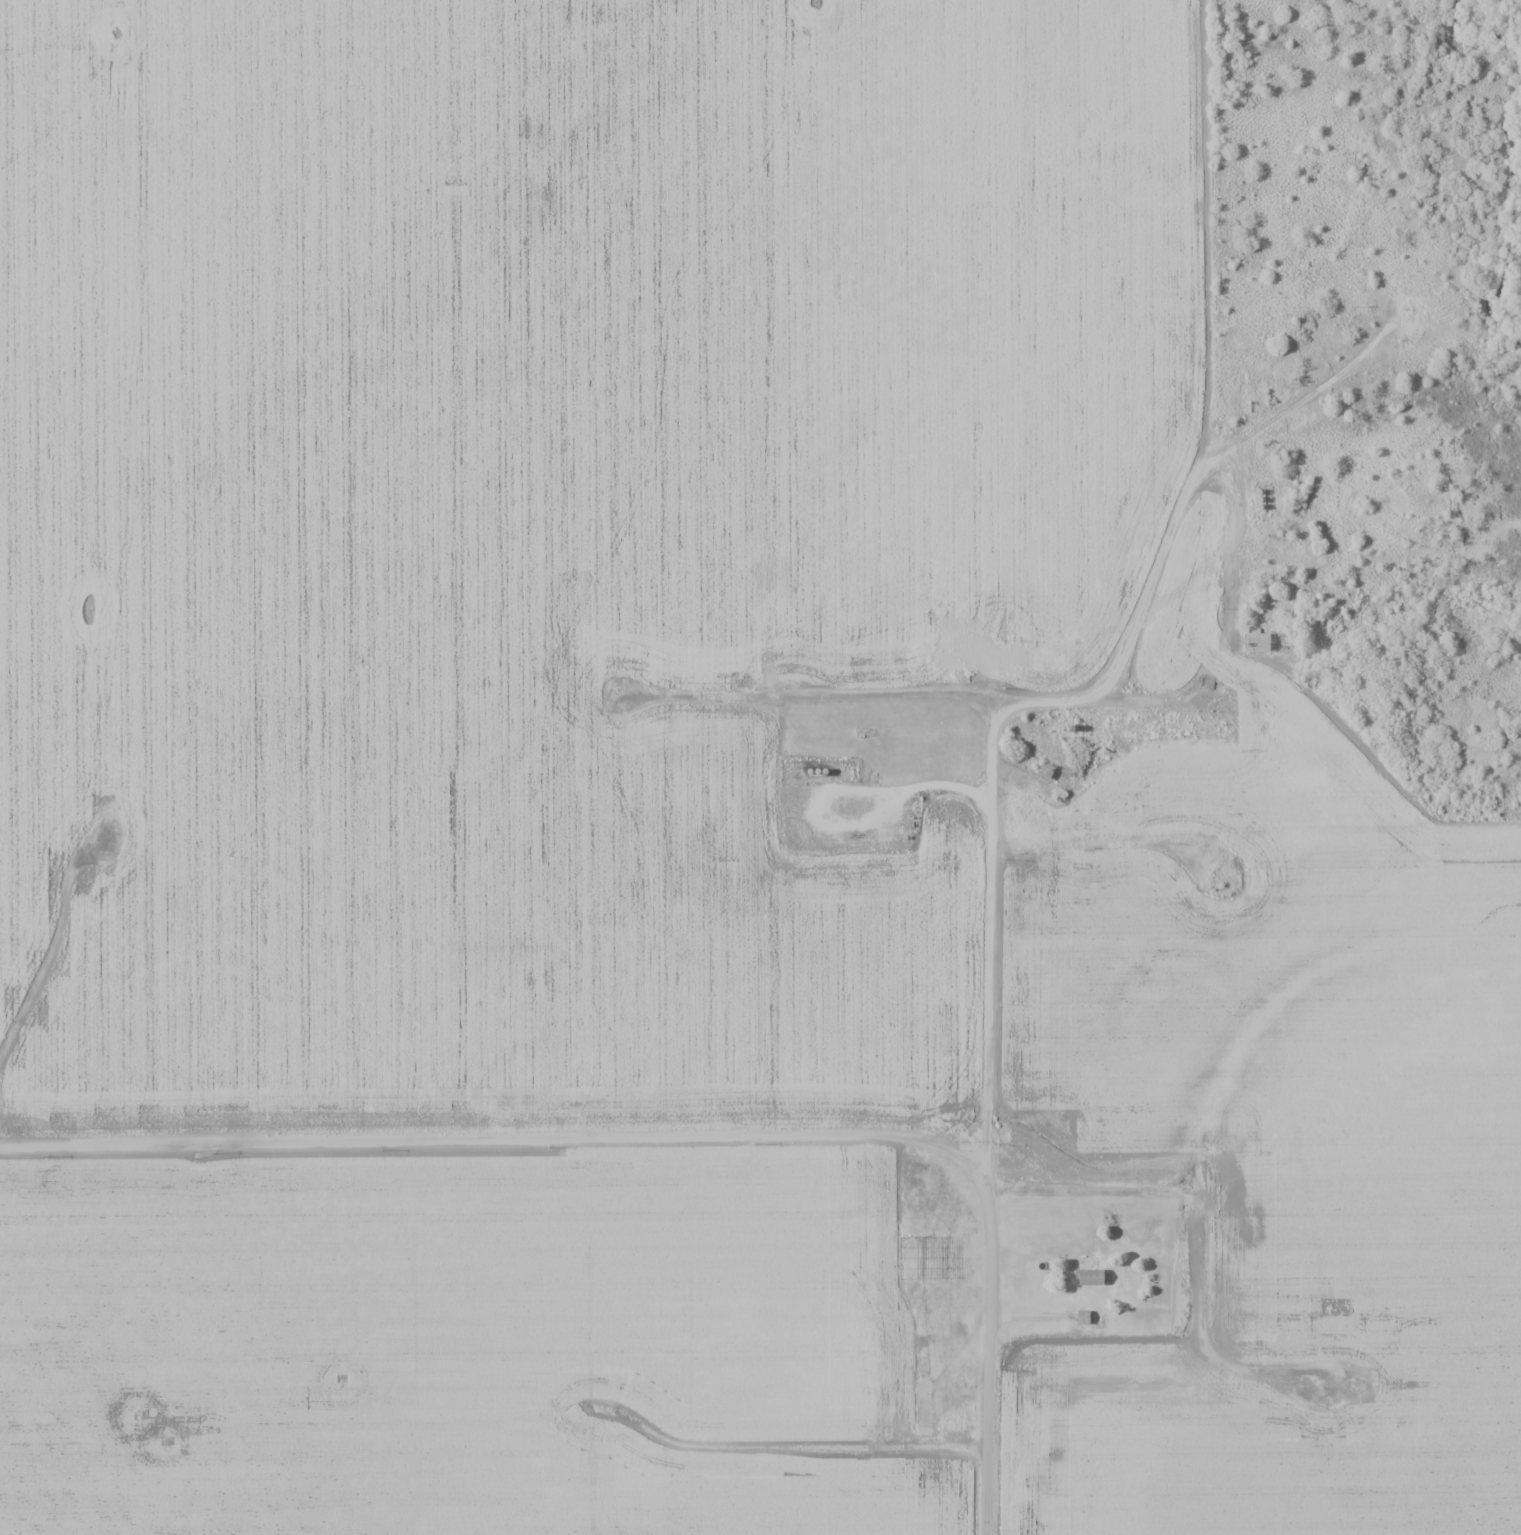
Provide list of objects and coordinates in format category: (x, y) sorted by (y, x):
building: (1267, 641)
building: (1045, 770)
road: (992, 1124)
road: (503, 1144)
building: (1091, 1276)

